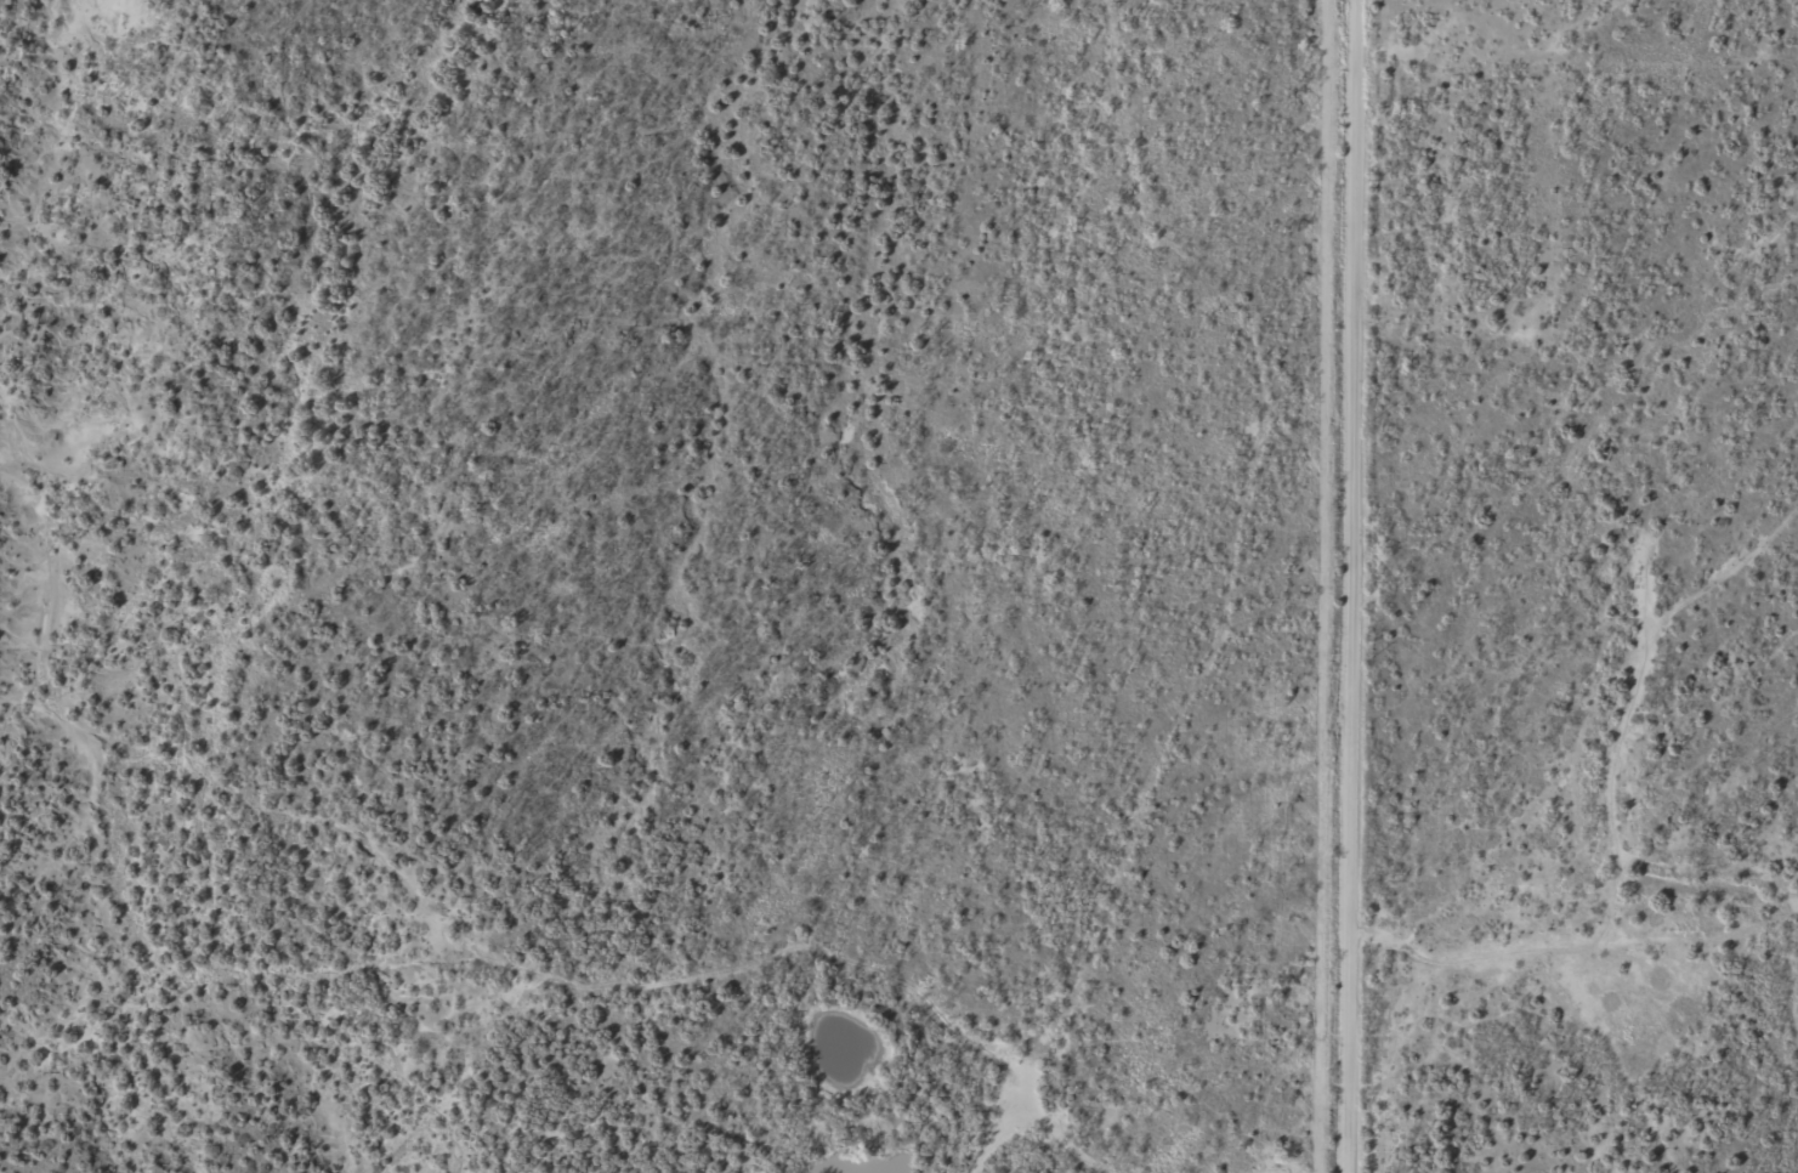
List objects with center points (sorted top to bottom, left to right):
road: (1355, 586)
road: (1019, 705)
road: (1560, 726)
road: (492, 913)

